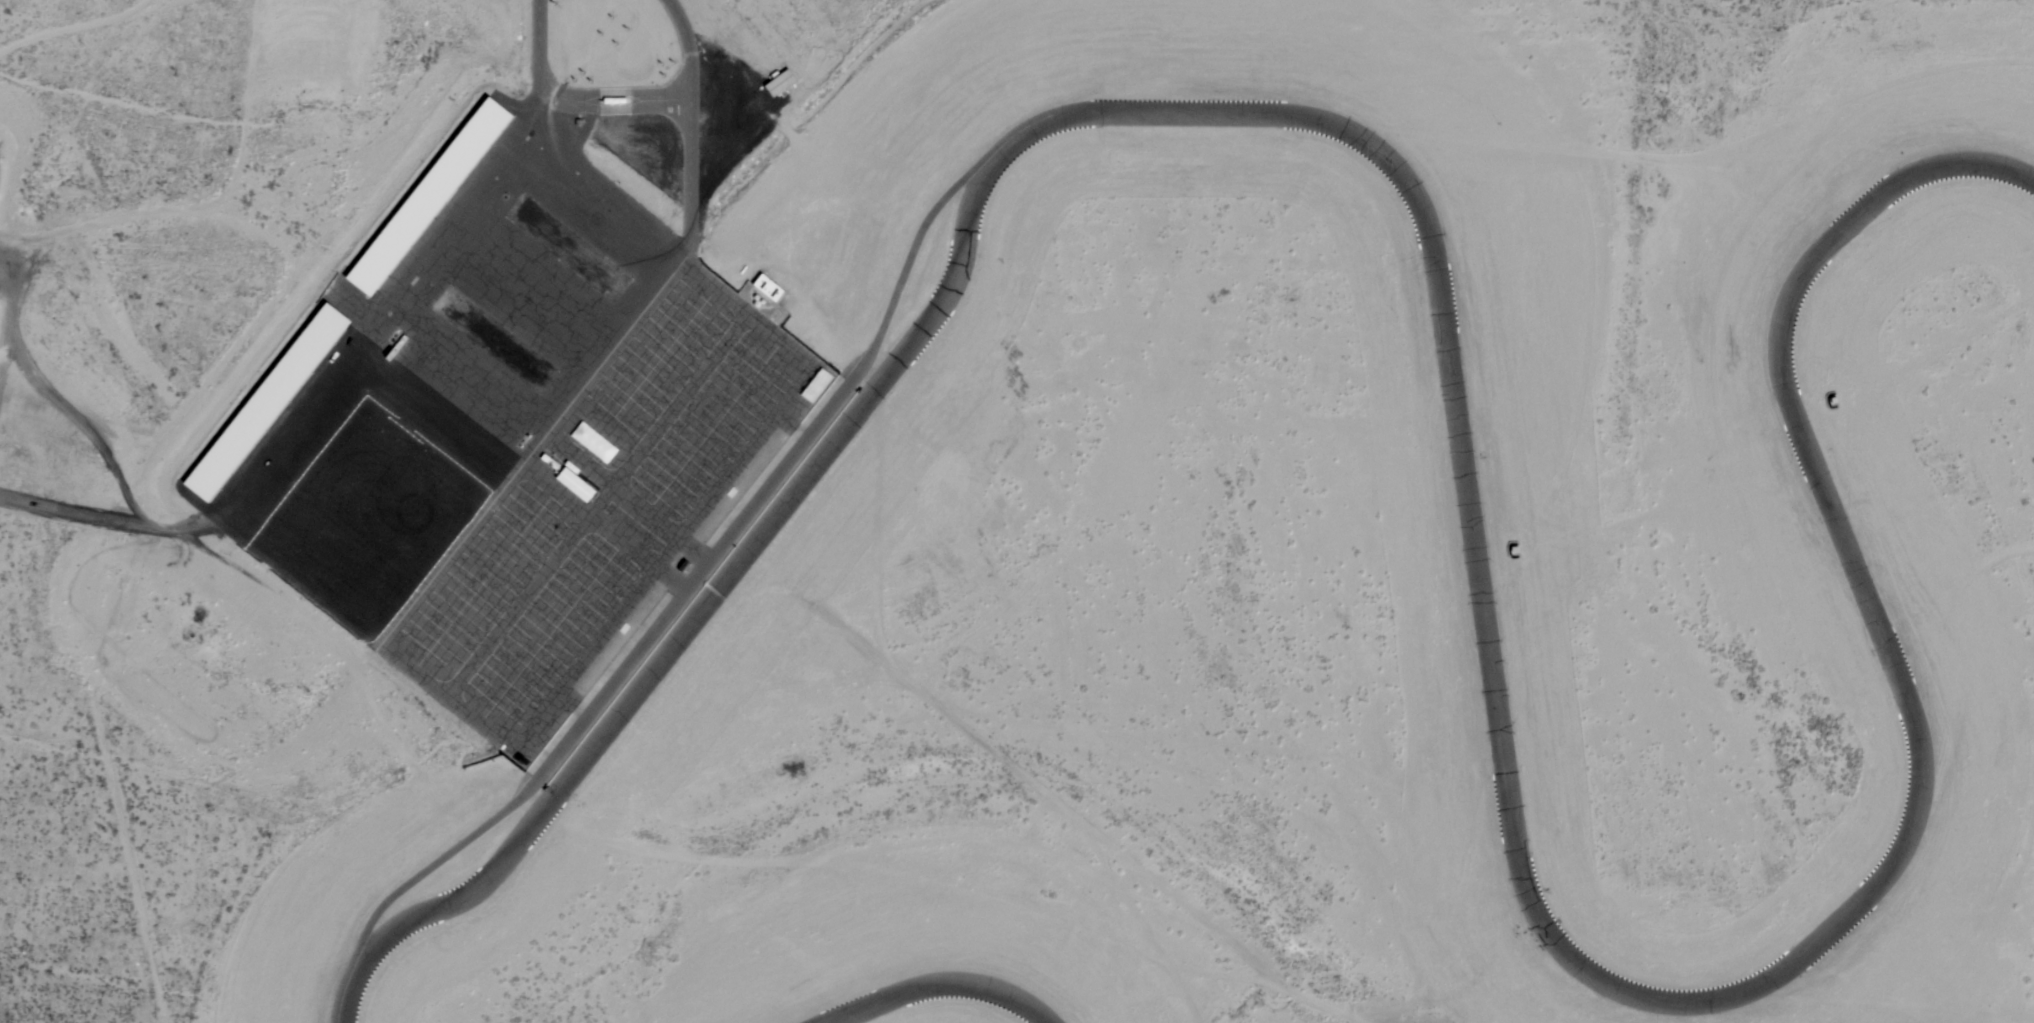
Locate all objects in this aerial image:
road: (538, 57)
road: (685, 90)
road: (609, 93)
building: (620, 101)
road: (665, 101)
road: (686, 109)
road: (609, 110)
road: (690, 124)
building: (440, 195)
building: (775, 288)
road: (749, 312)
building: (275, 403)
building: (601, 445)
raceway: (1459, 445)
road: (535, 448)
building: (583, 484)
road: (612, 488)
road: (598, 505)
parking lot: (604, 510)
road: (591, 514)
raceway: (720, 547)
raceway: (693, 552)
road: (664, 559)
raceway: (672, 579)
road: (447, 698)
raceway: (941, 984)

